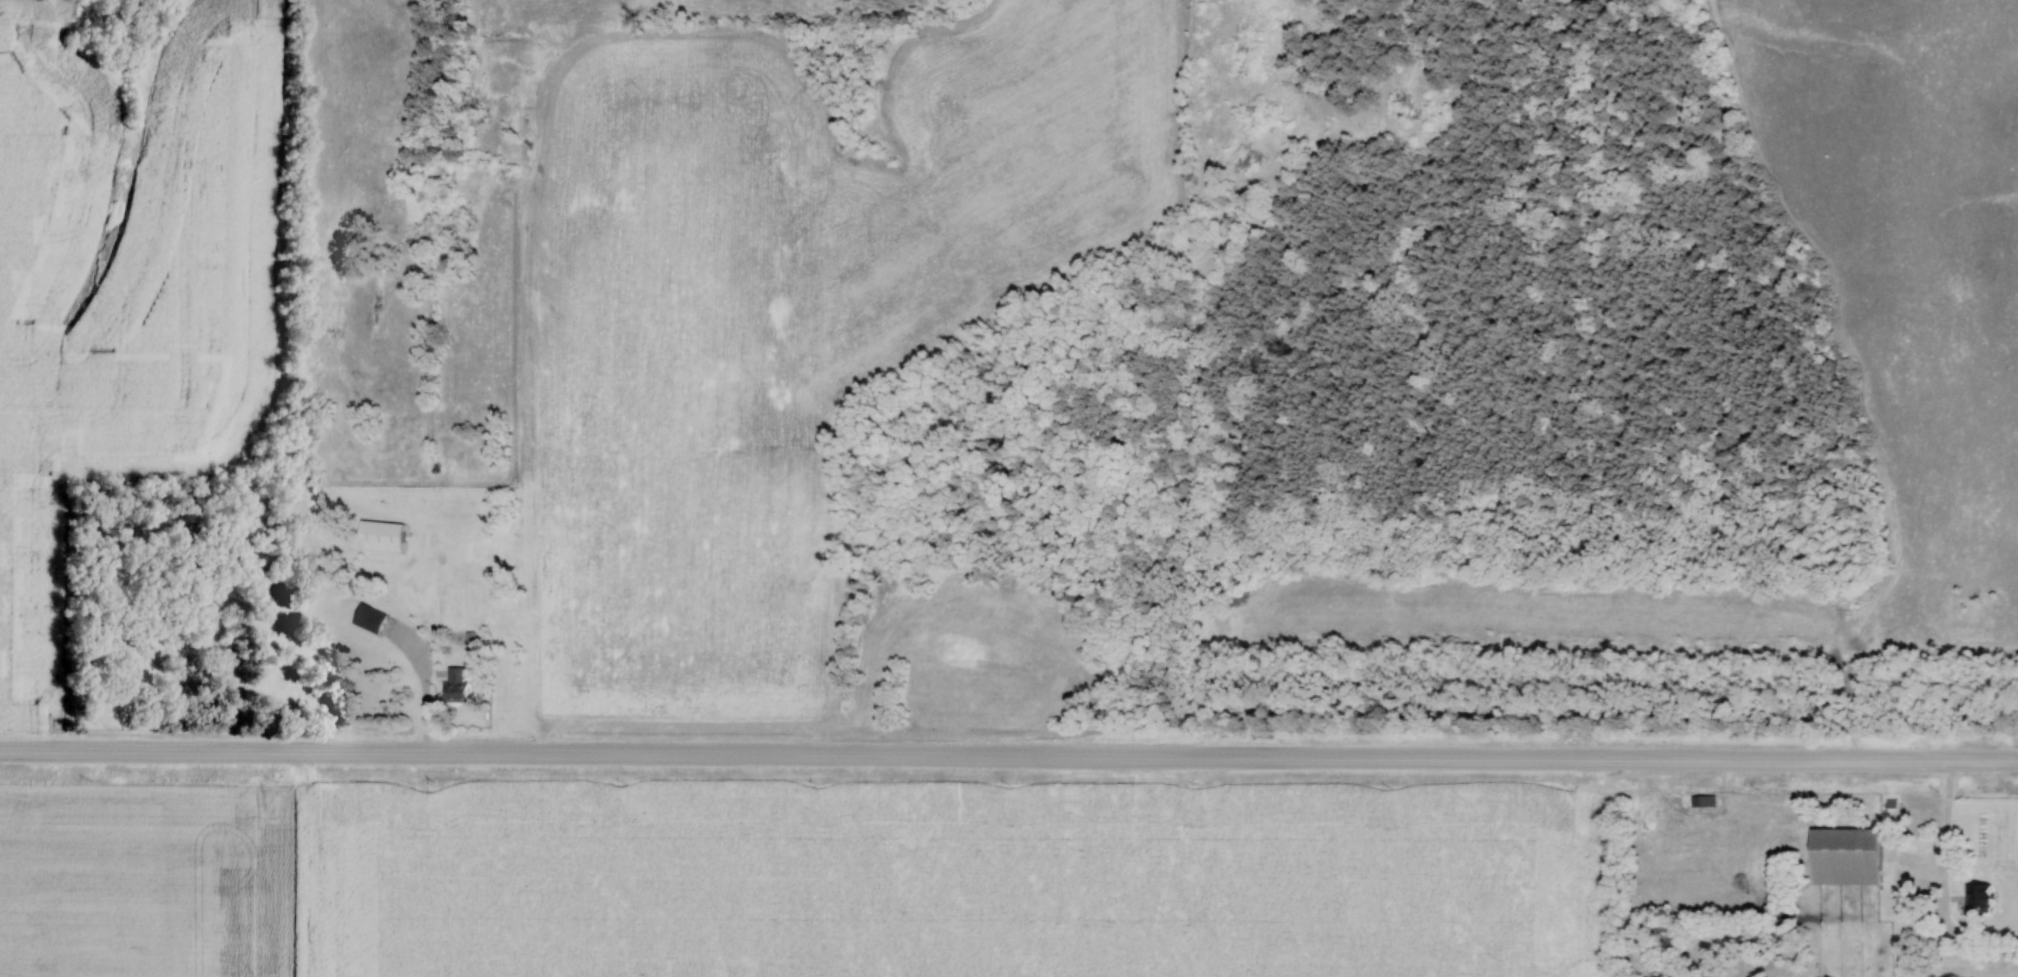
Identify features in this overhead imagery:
building: (382, 537)
building: (371, 619)
building: (458, 685)
road: (1009, 757)
building: (1704, 802)
building: (1920, 815)
building: (1849, 857)
building: (1982, 896)
road: (1970, 934)

